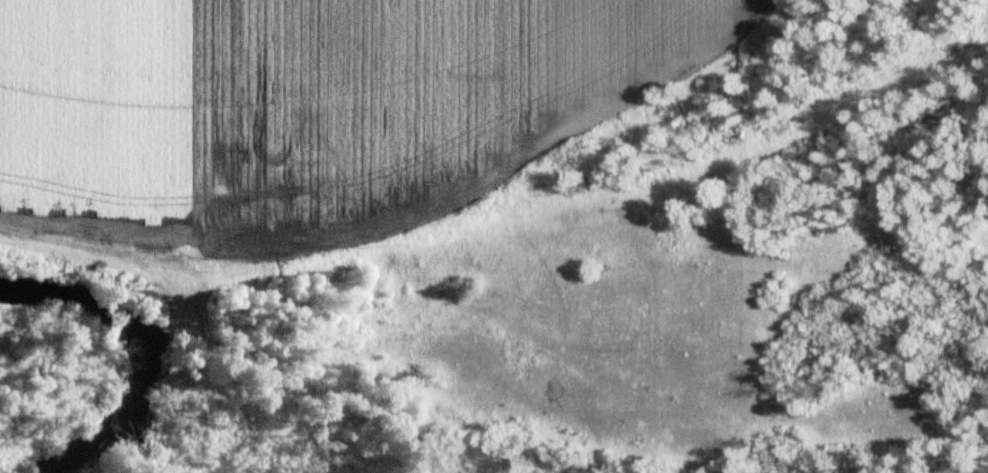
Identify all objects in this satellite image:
river: (142, 351)

